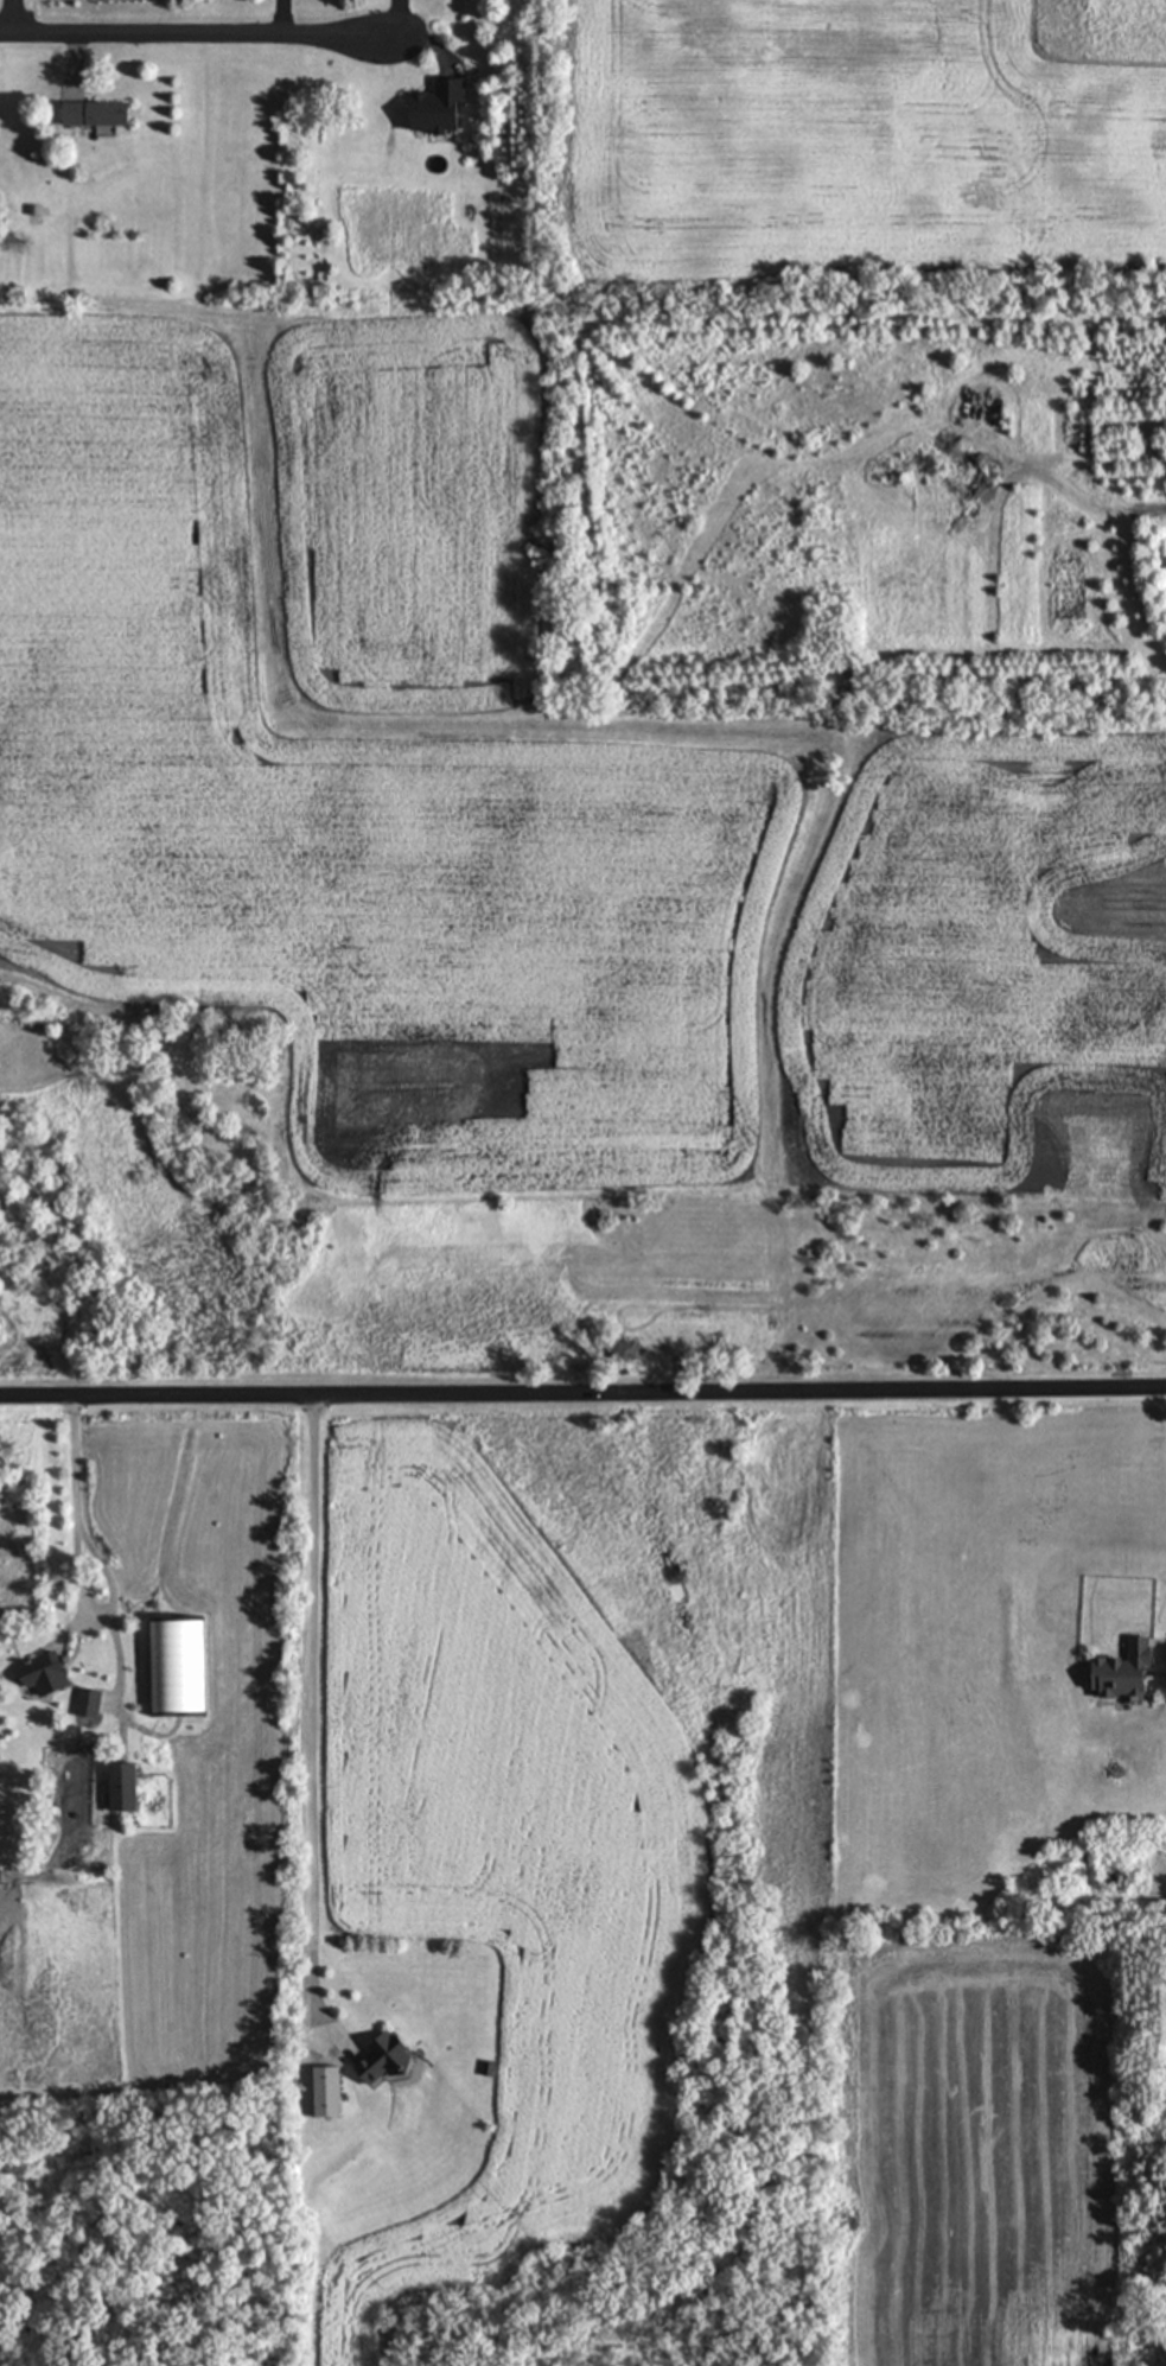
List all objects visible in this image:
road: (11, 14)
road: (193, 28)
building: (102, 113)
road: (582, 1397)
road: (82, 1573)
building: (185, 1665)
building: (1134, 1669)
building: (57, 1672)
building: (98, 1702)
road: (318, 1729)
building: (134, 1786)
building: (391, 2059)

